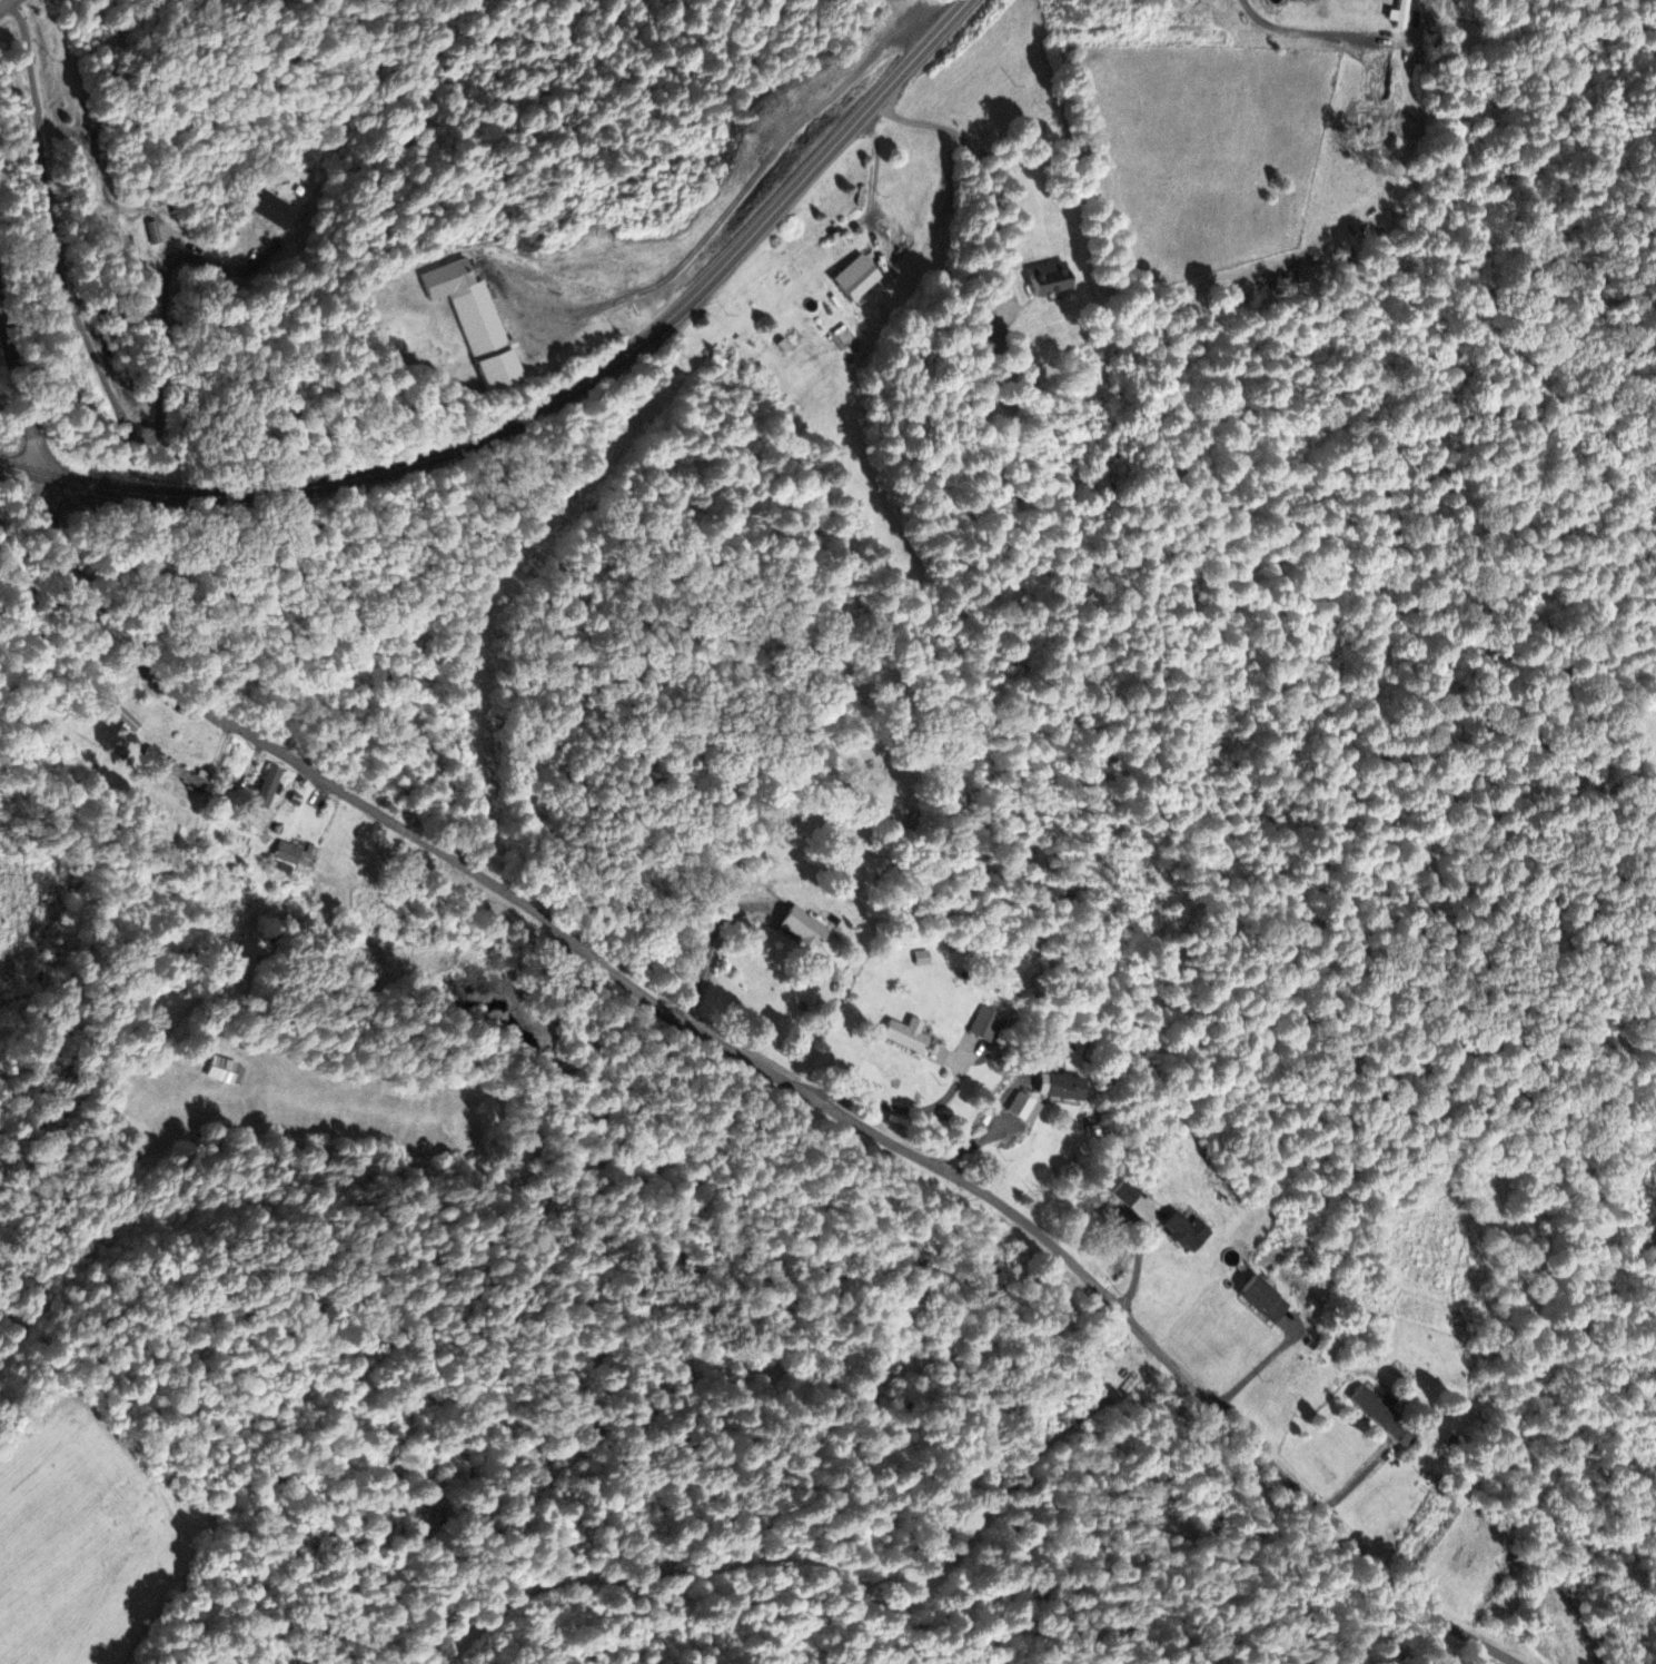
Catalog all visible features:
road: (3, 2)
building: (1047, 280)
building: (793, 284)
building: (473, 321)
building: (988, 336)
road: (551, 395)
building: (266, 789)
building: (357, 848)
building: (291, 858)
building: (802, 929)
building: (922, 960)
road: (685, 1011)
building: (984, 1026)
building: (903, 1037)
building: (224, 1071)
building: (1059, 1088)
building: (1024, 1110)
building: (1126, 1193)
building: (1184, 1232)
building: (1262, 1299)
building: (1371, 1406)

